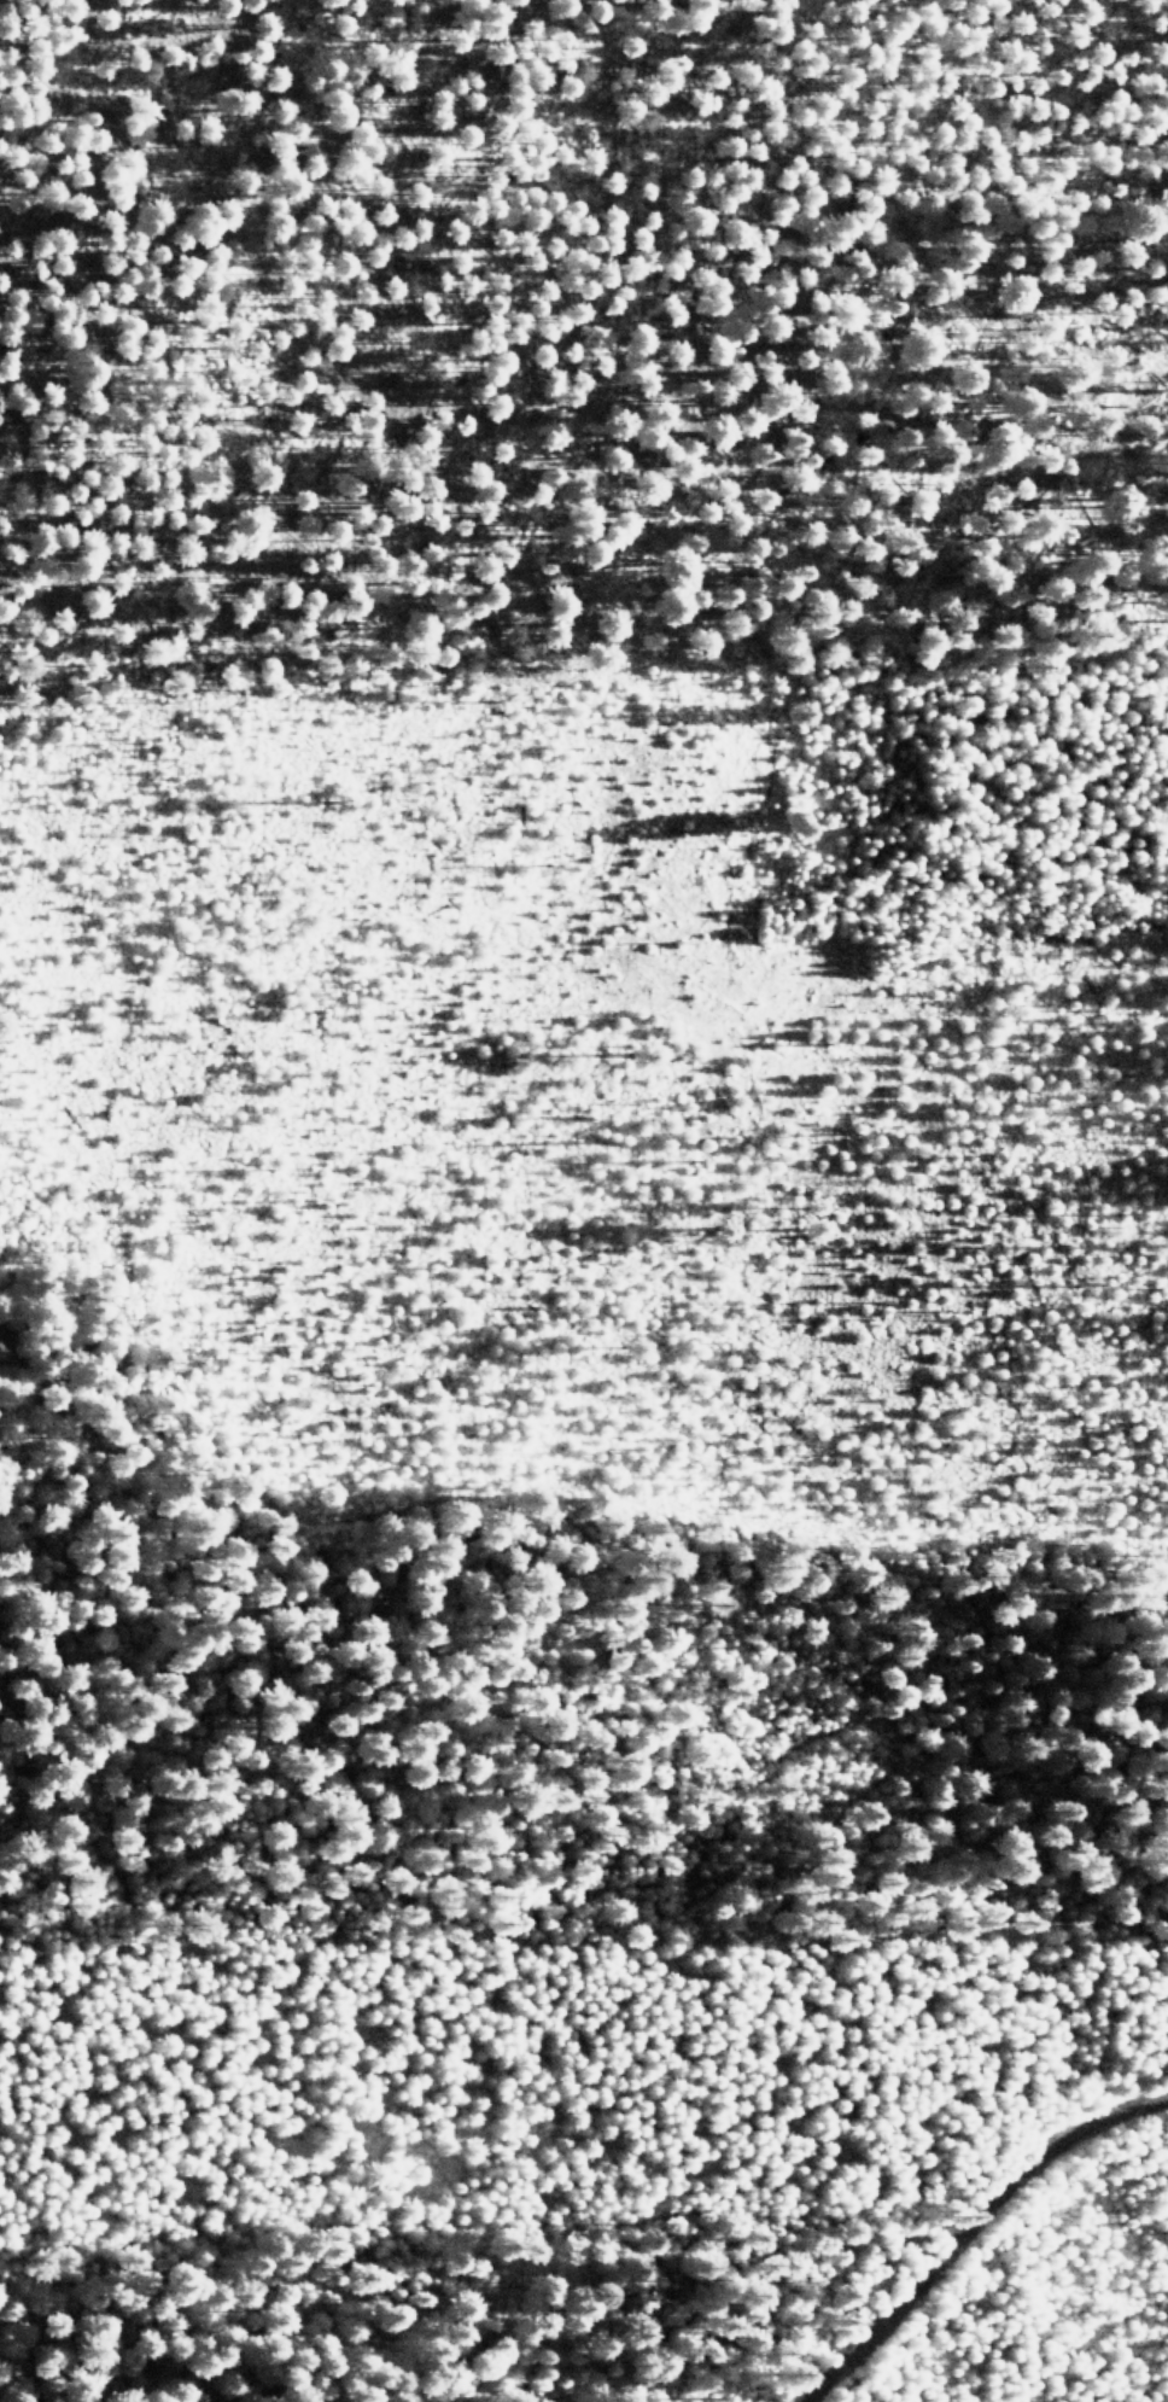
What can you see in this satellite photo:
road: (969, 2225)

